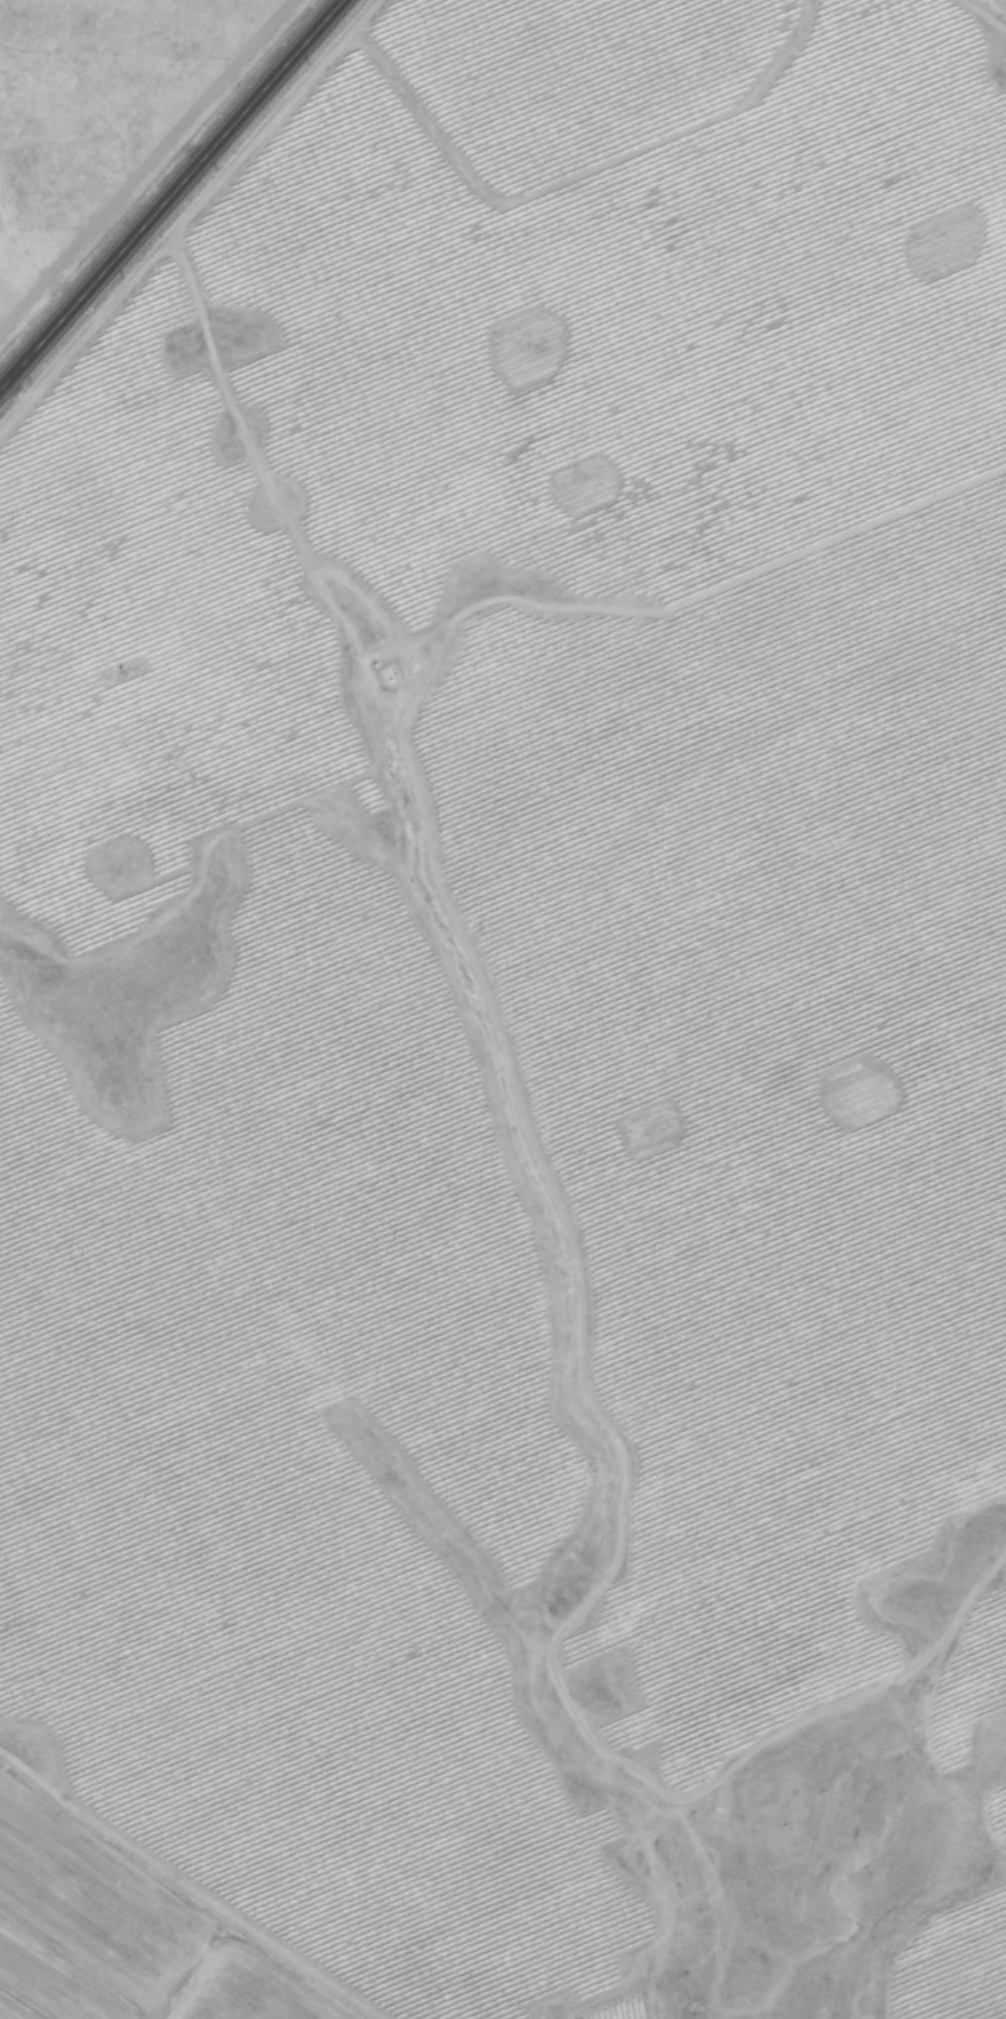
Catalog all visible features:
road: (180, 205)

